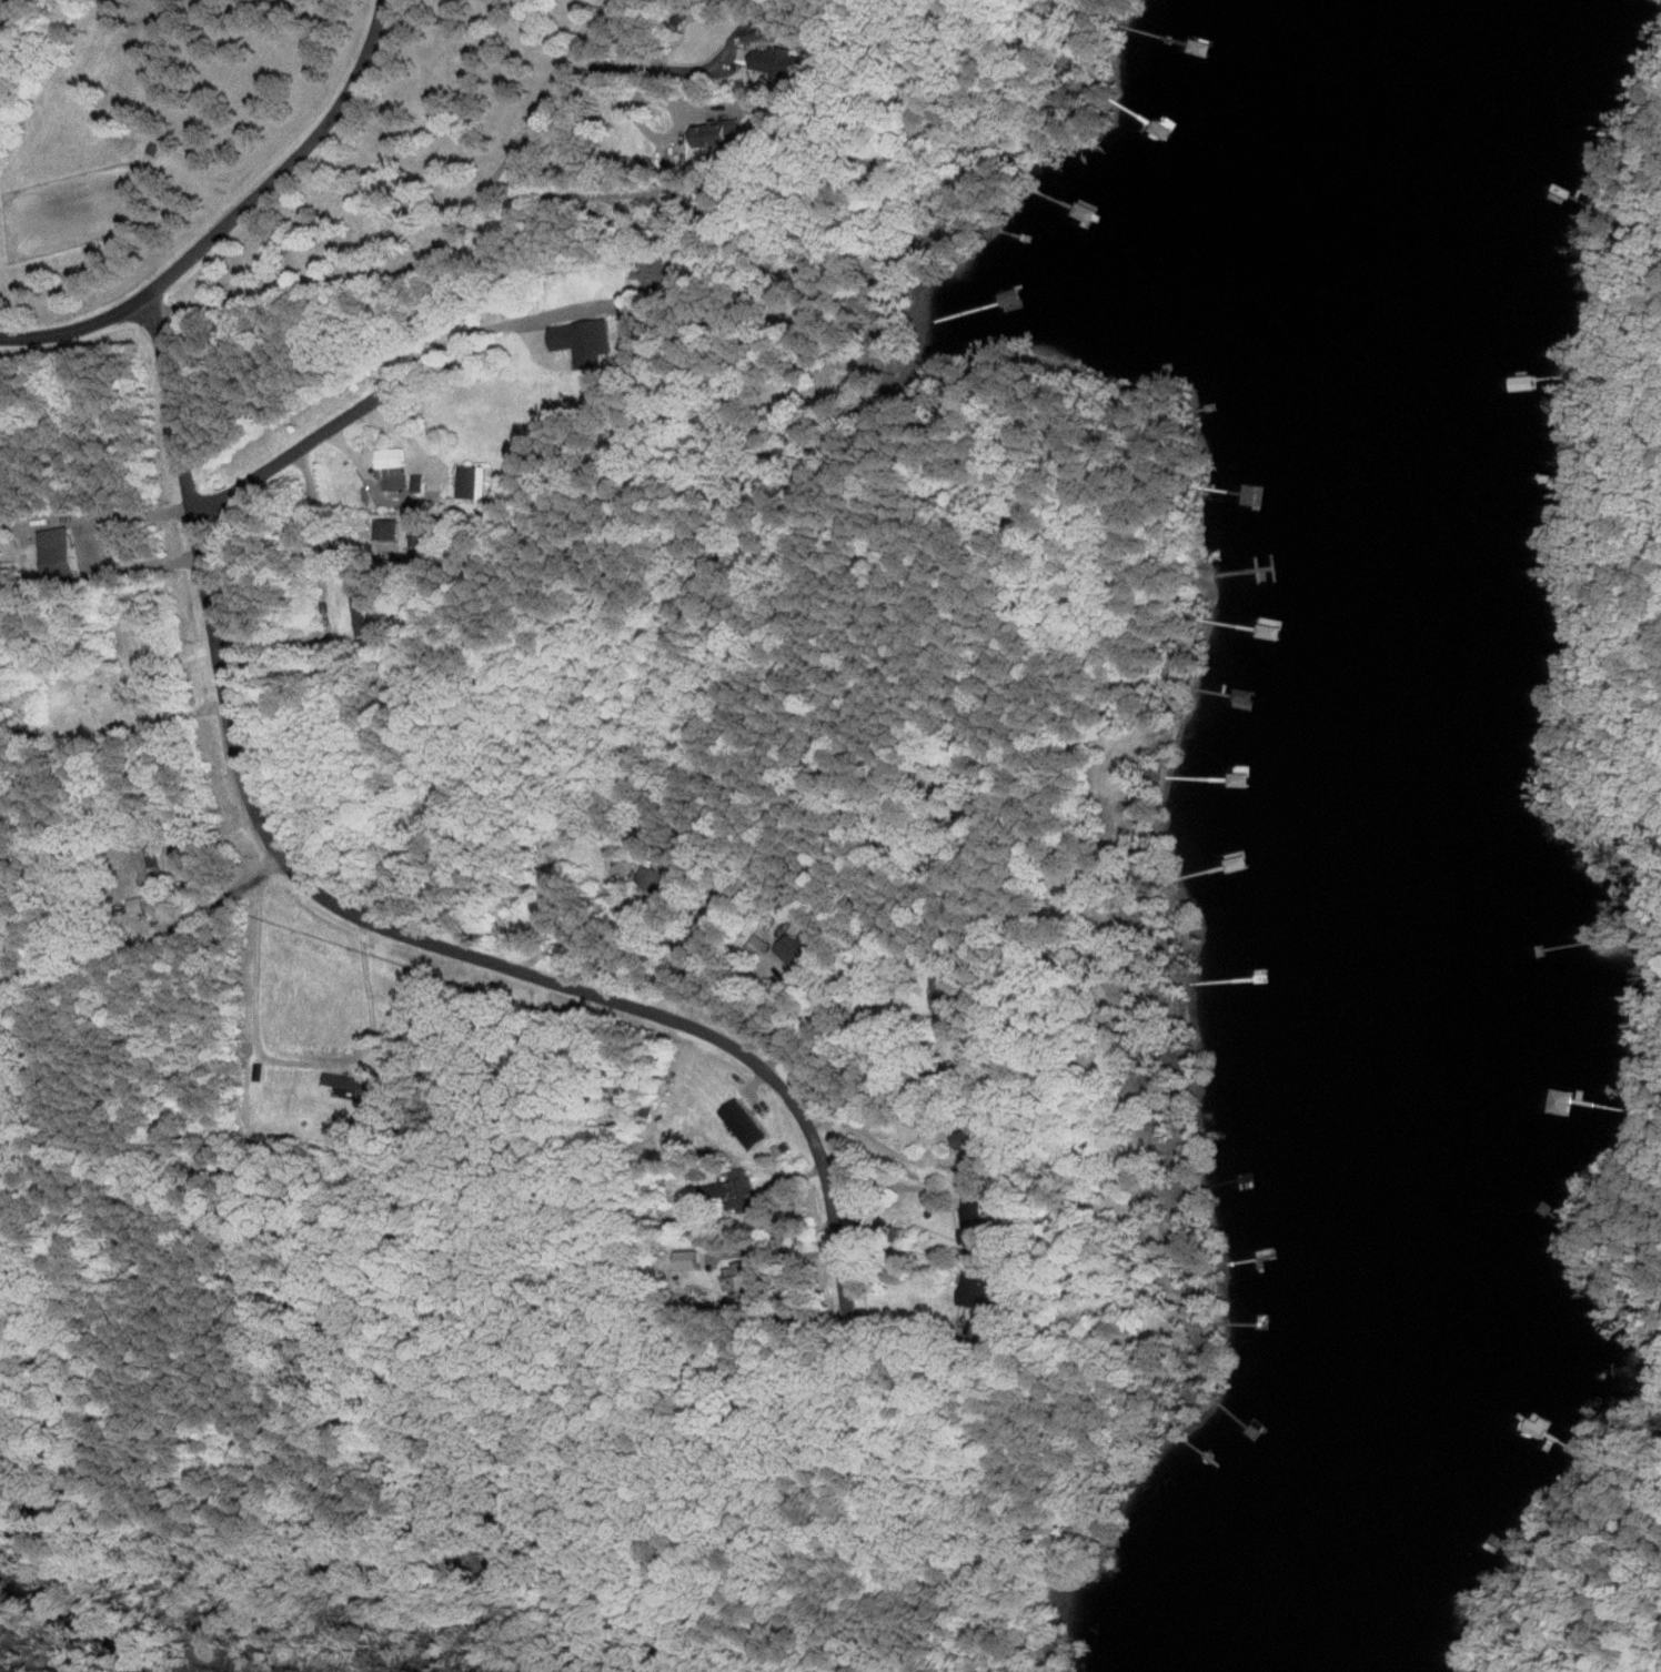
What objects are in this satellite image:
road: (665, 99)
building: (722, 134)
road: (285, 167)
road: (445, 244)
building: (660, 271)
building: (970, 310)
road: (485, 328)
road: (73, 330)
building: (592, 342)
building: (1491, 384)
road: (296, 451)
building: (395, 469)
building: (476, 482)
road: (424, 497)
building: (390, 530)
building: (424, 537)
building: (421, 558)
building: (361, 610)
road: (278, 637)
building: (1246, 696)
building: (1238, 785)
building: (145, 868)
building: (657, 879)
road: (220, 887)
building: (138, 907)
road: (364, 920)
building: (809, 951)
road: (279, 1055)
building: (959, 1076)
building: (974, 1139)
road: (895, 1184)
building: (742, 1192)
building: (975, 1221)
building: (874, 1222)
building: (739, 1277)
building: (981, 1290)

